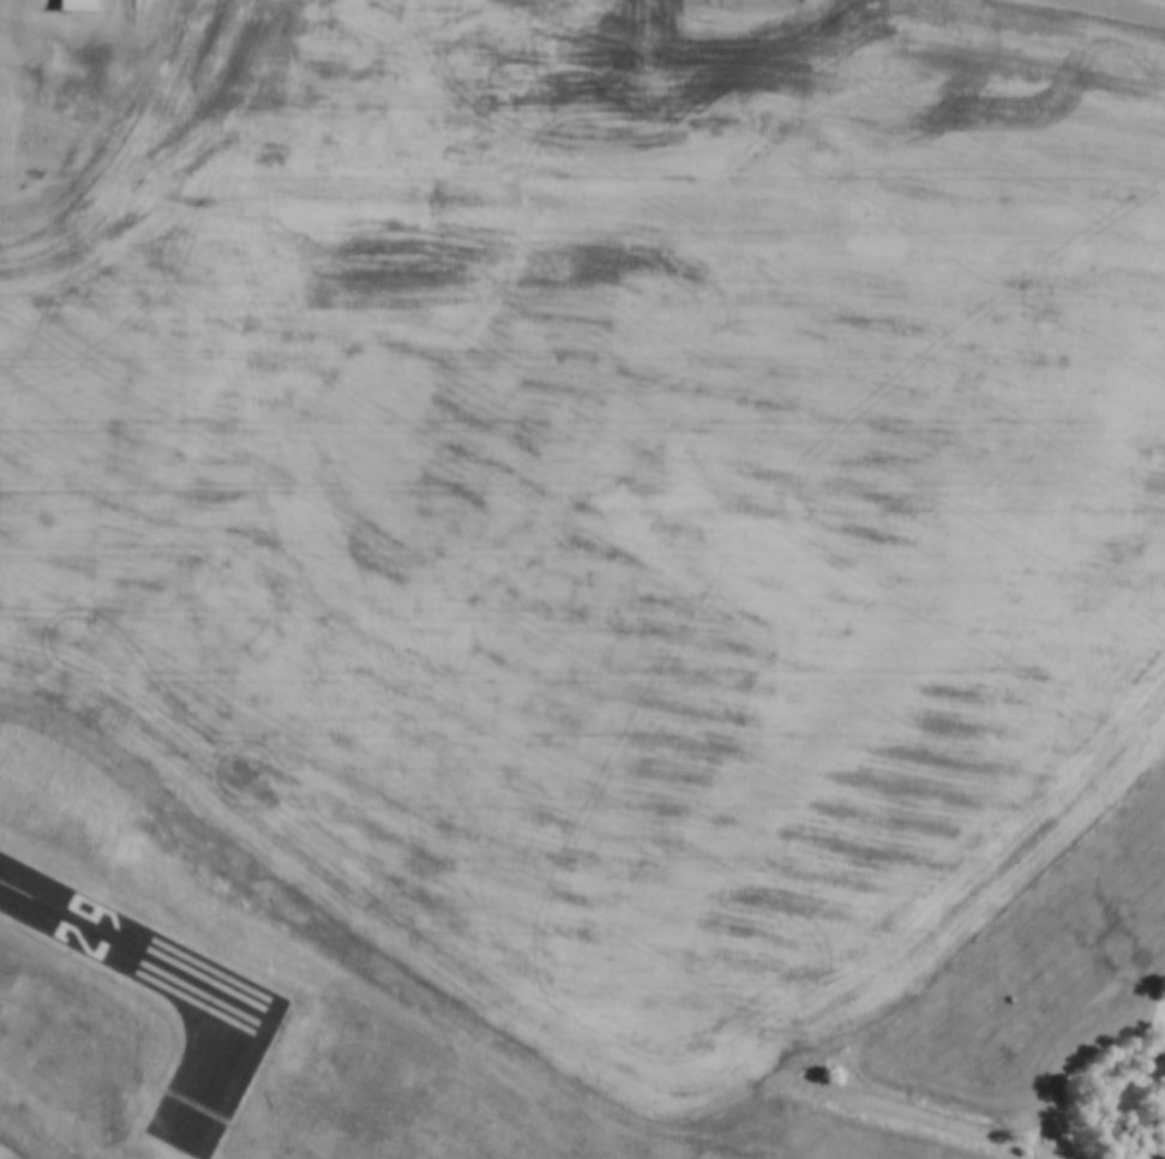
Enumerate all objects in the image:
building: (76, 6)
crop: (605, 486)
airport runway: (130, 949)

